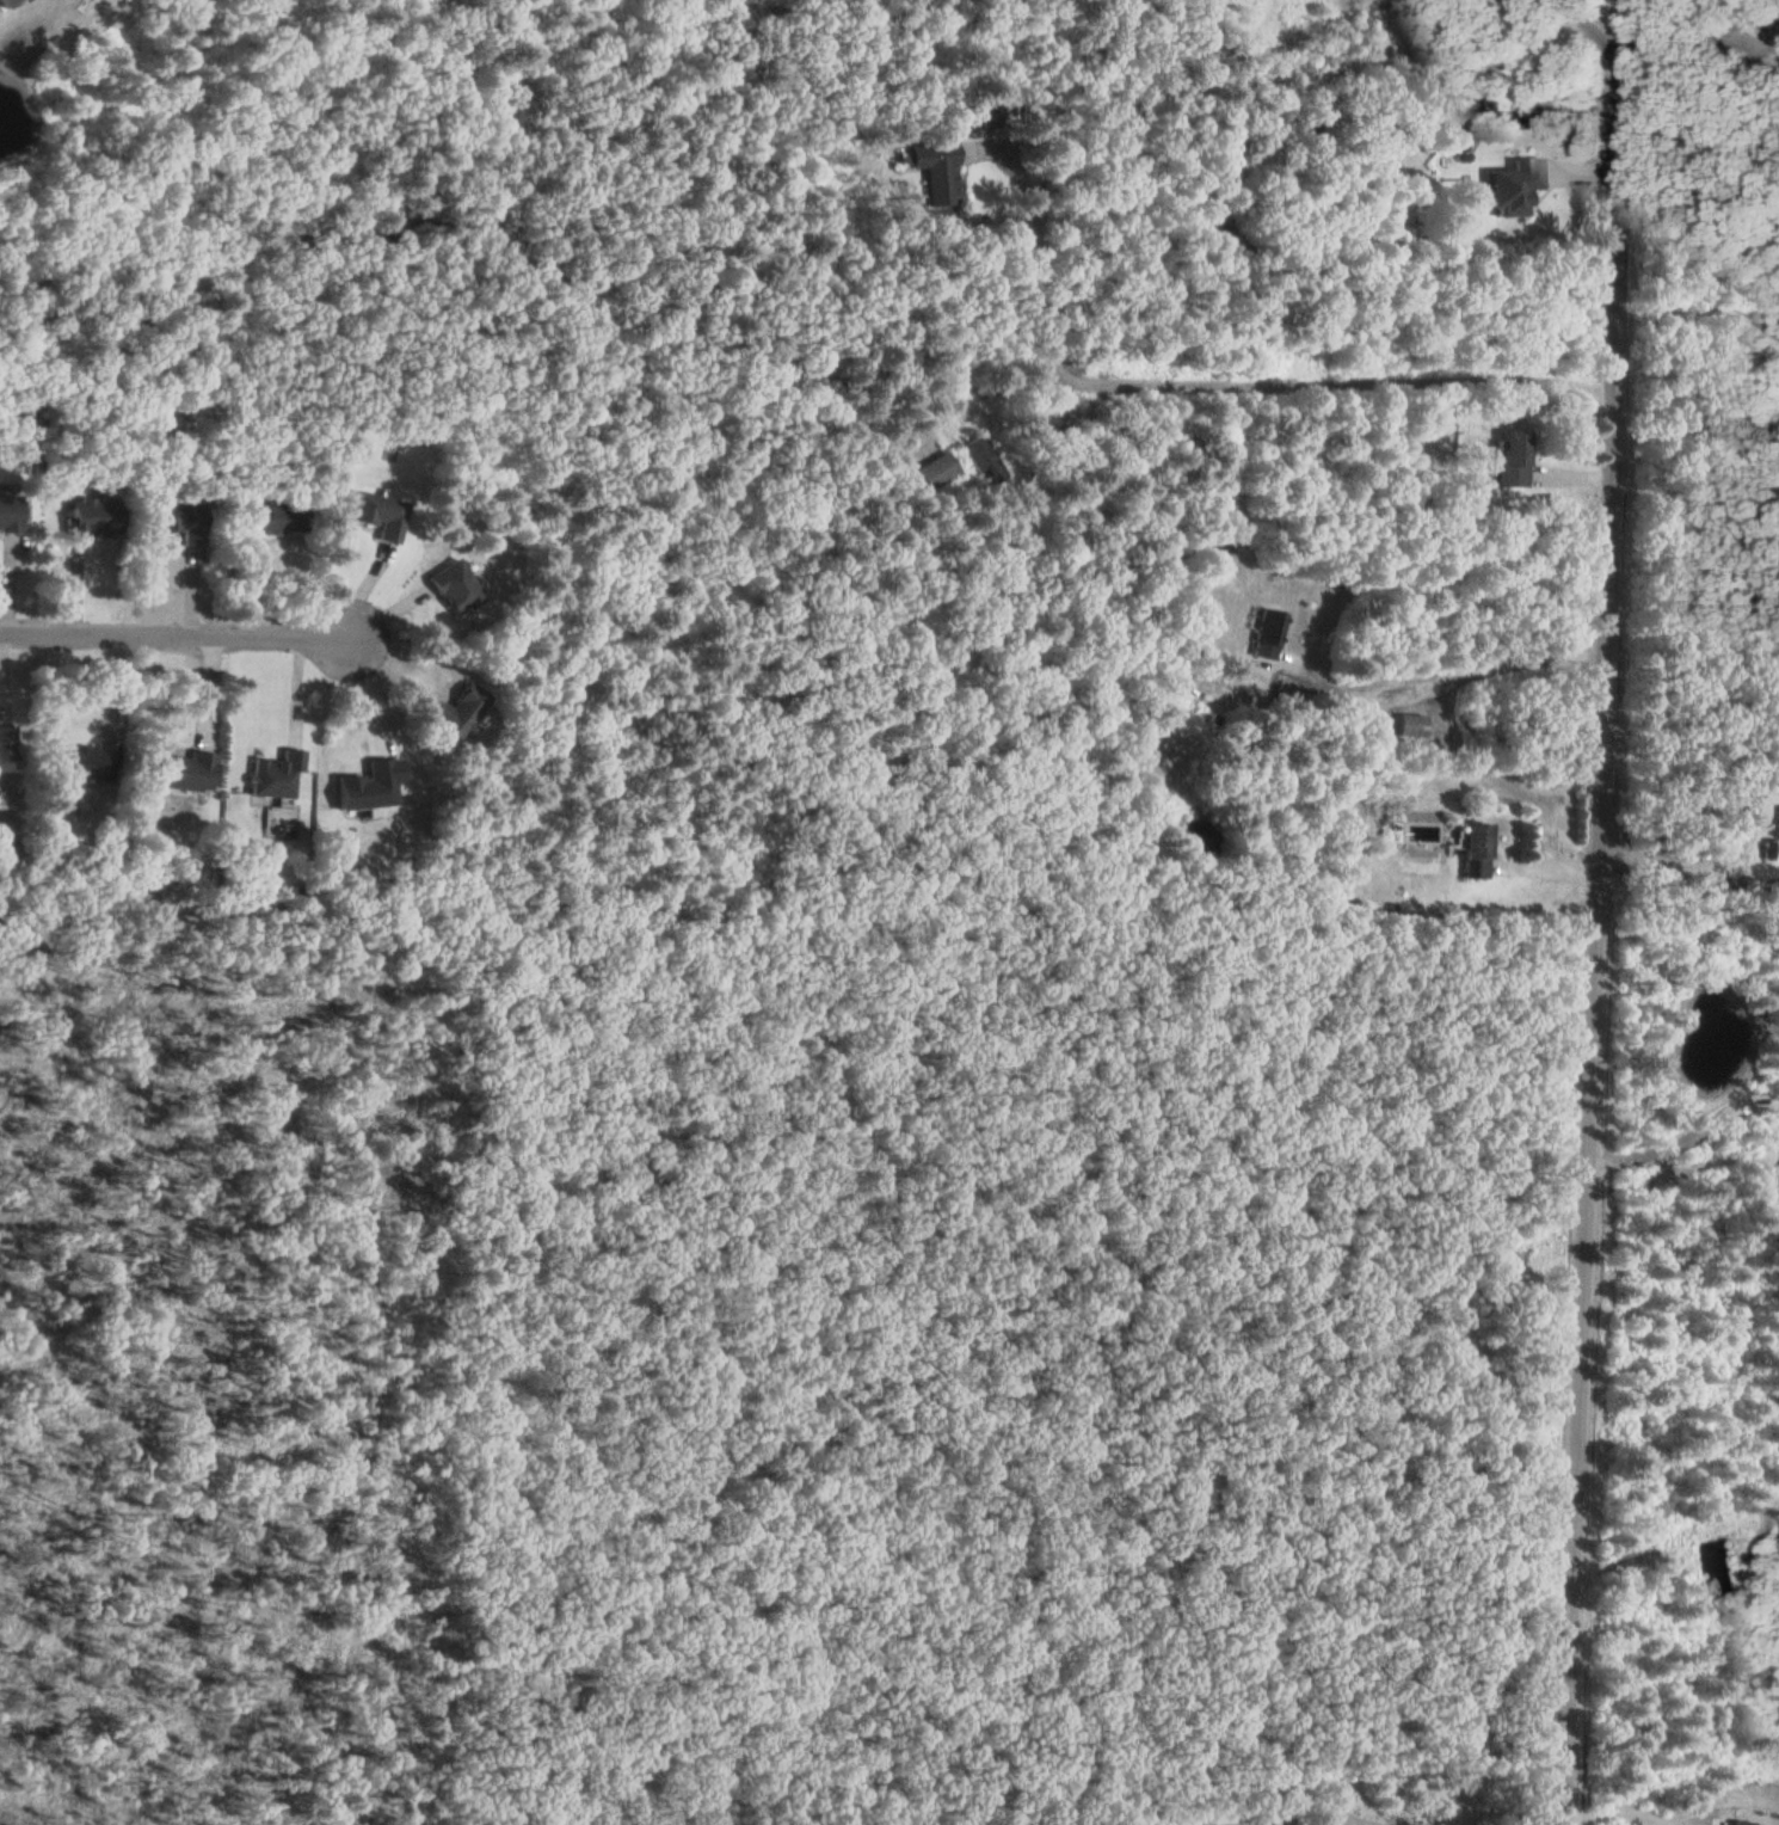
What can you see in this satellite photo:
building: (5, 4)
road: (1737, 23)
road: (1596, 31)
building: (980, 113)
building: (935, 171)
building: (1512, 185)
road: (1039, 270)
road: (1322, 381)
building: (420, 426)
building: (1510, 456)
building: (979, 460)
building: (934, 469)
building: (7, 512)
building: (376, 512)
building: (91, 517)
building: (275, 517)
building: (179, 521)
building: (453, 585)
road: (174, 632)
building: (1262, 632)
road: (1446, 678)
building: (456, 708)
building: (1408, 724)
building: (4, 746)
building: (81, 761)
building: (183, 769)
building: (273, 773)
building: (1473, 848)
road: (1670, 862)
road: (1587, 911)
road: (1681, 1135)
road: (1731, 1802)
road: (1624, 1809)
road: (1689, 1821)

